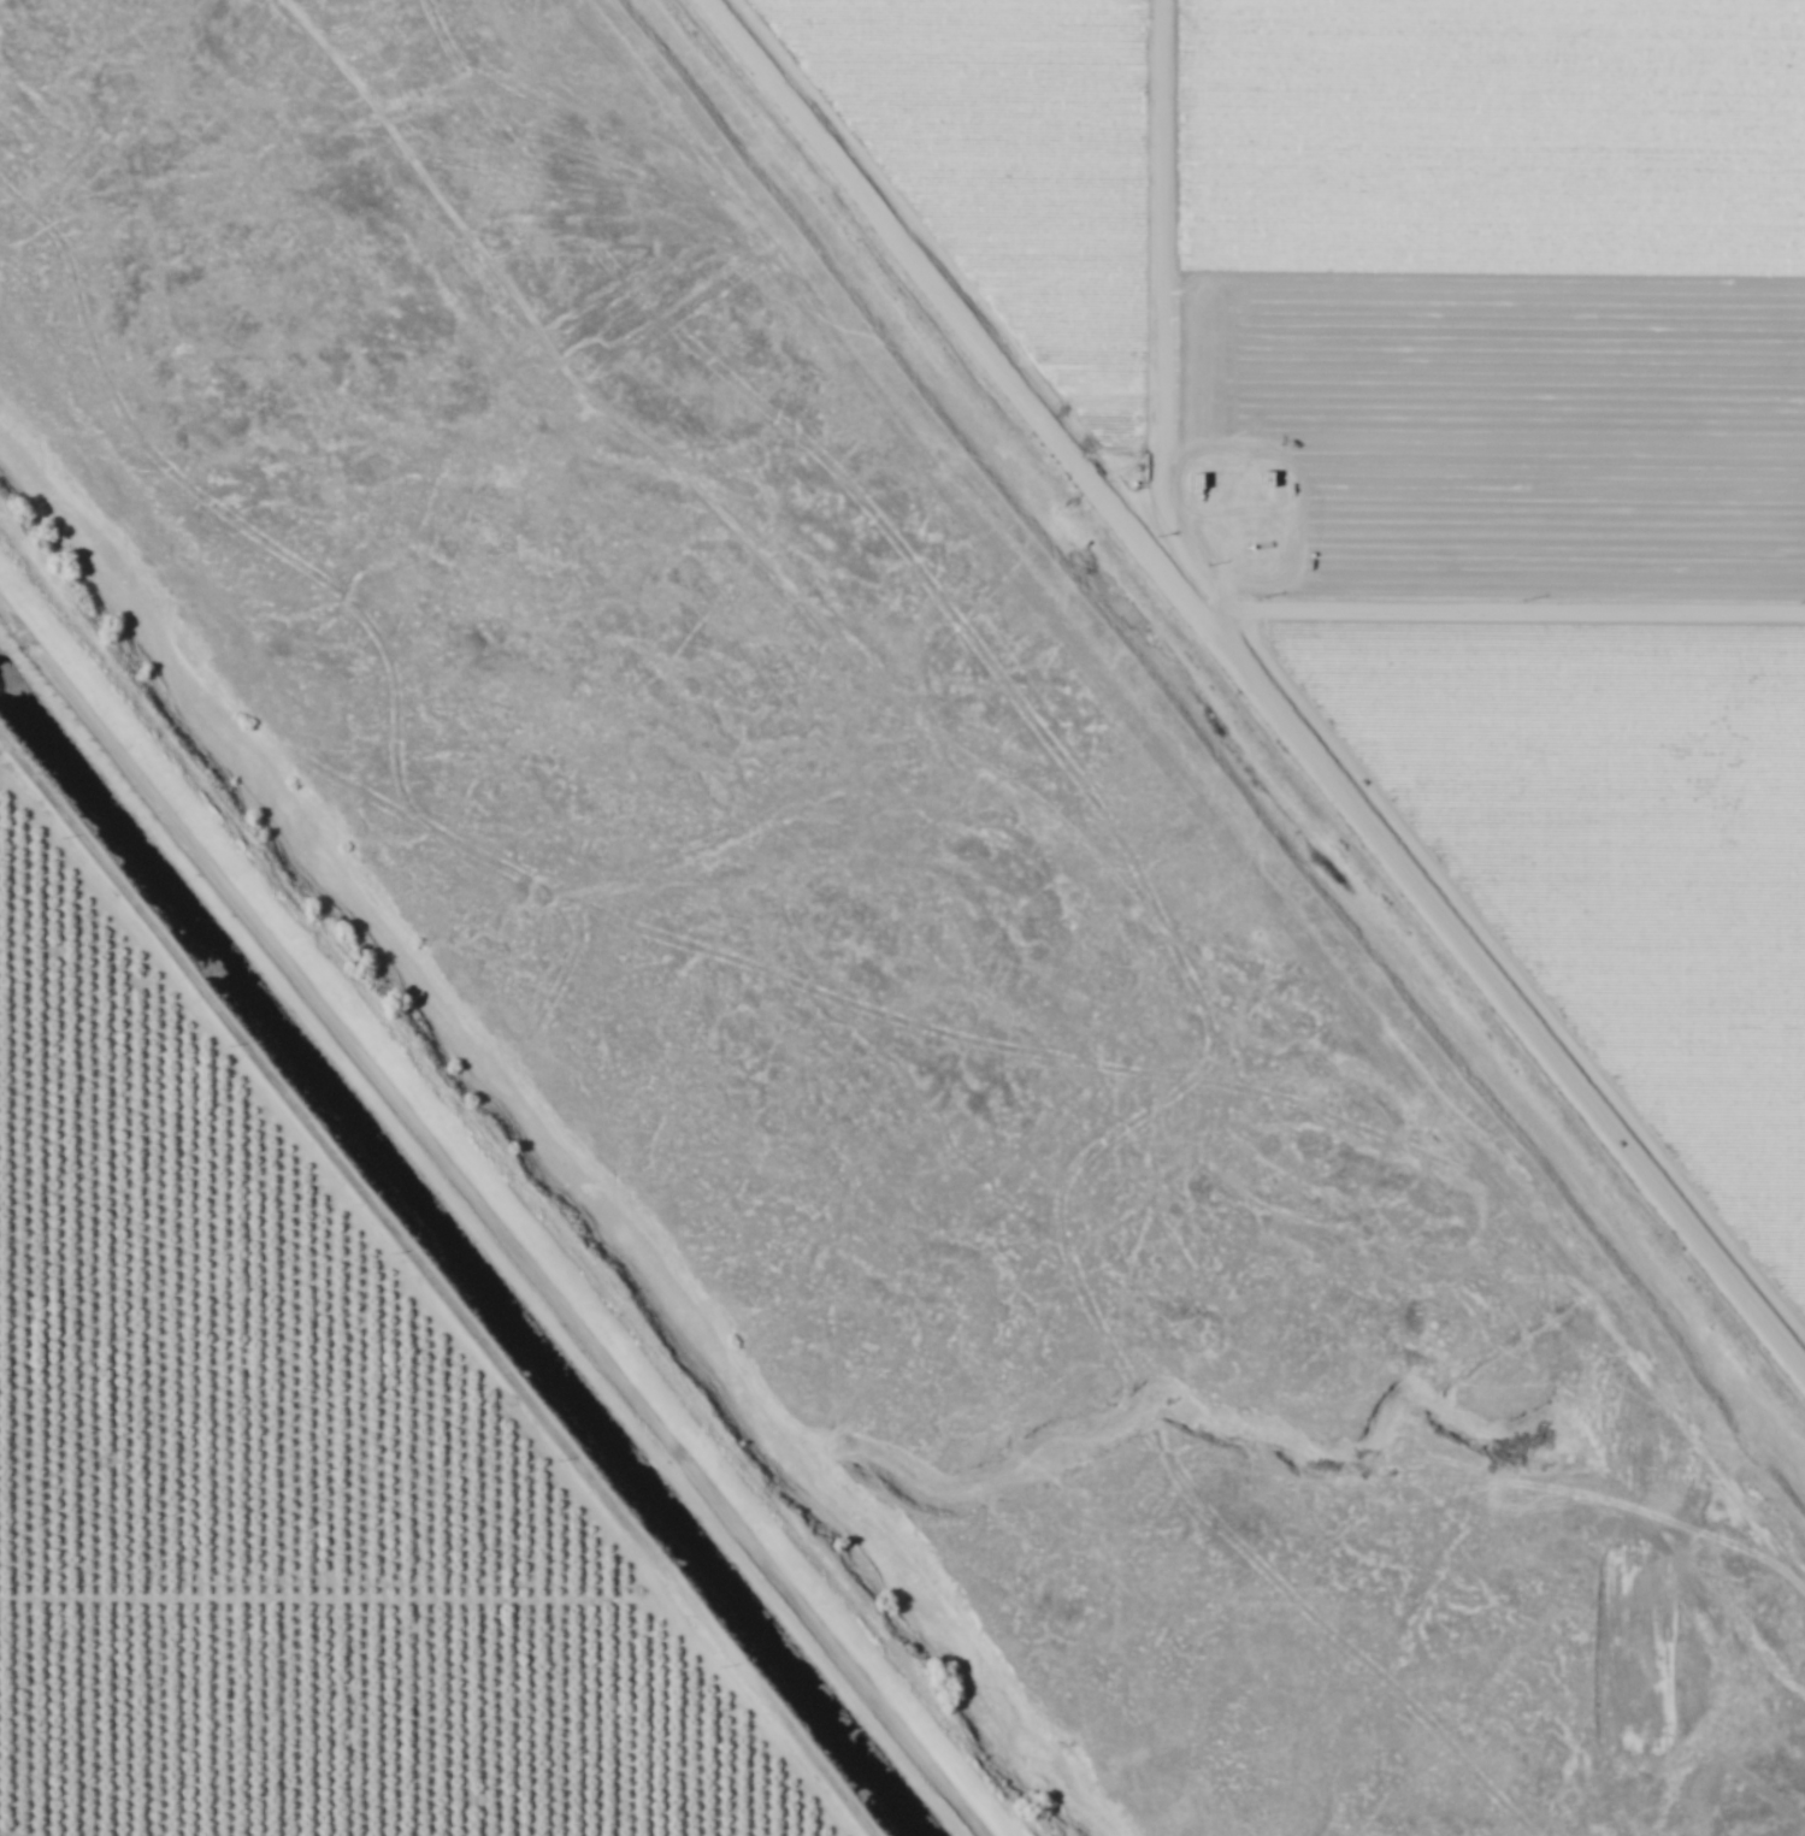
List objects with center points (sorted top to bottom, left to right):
crop: (1396, 281)
road: (1255, 689)
crop: (1621, 857)
road: (317, 1196)
road: (490, 1216)
road: (474, 1600)

